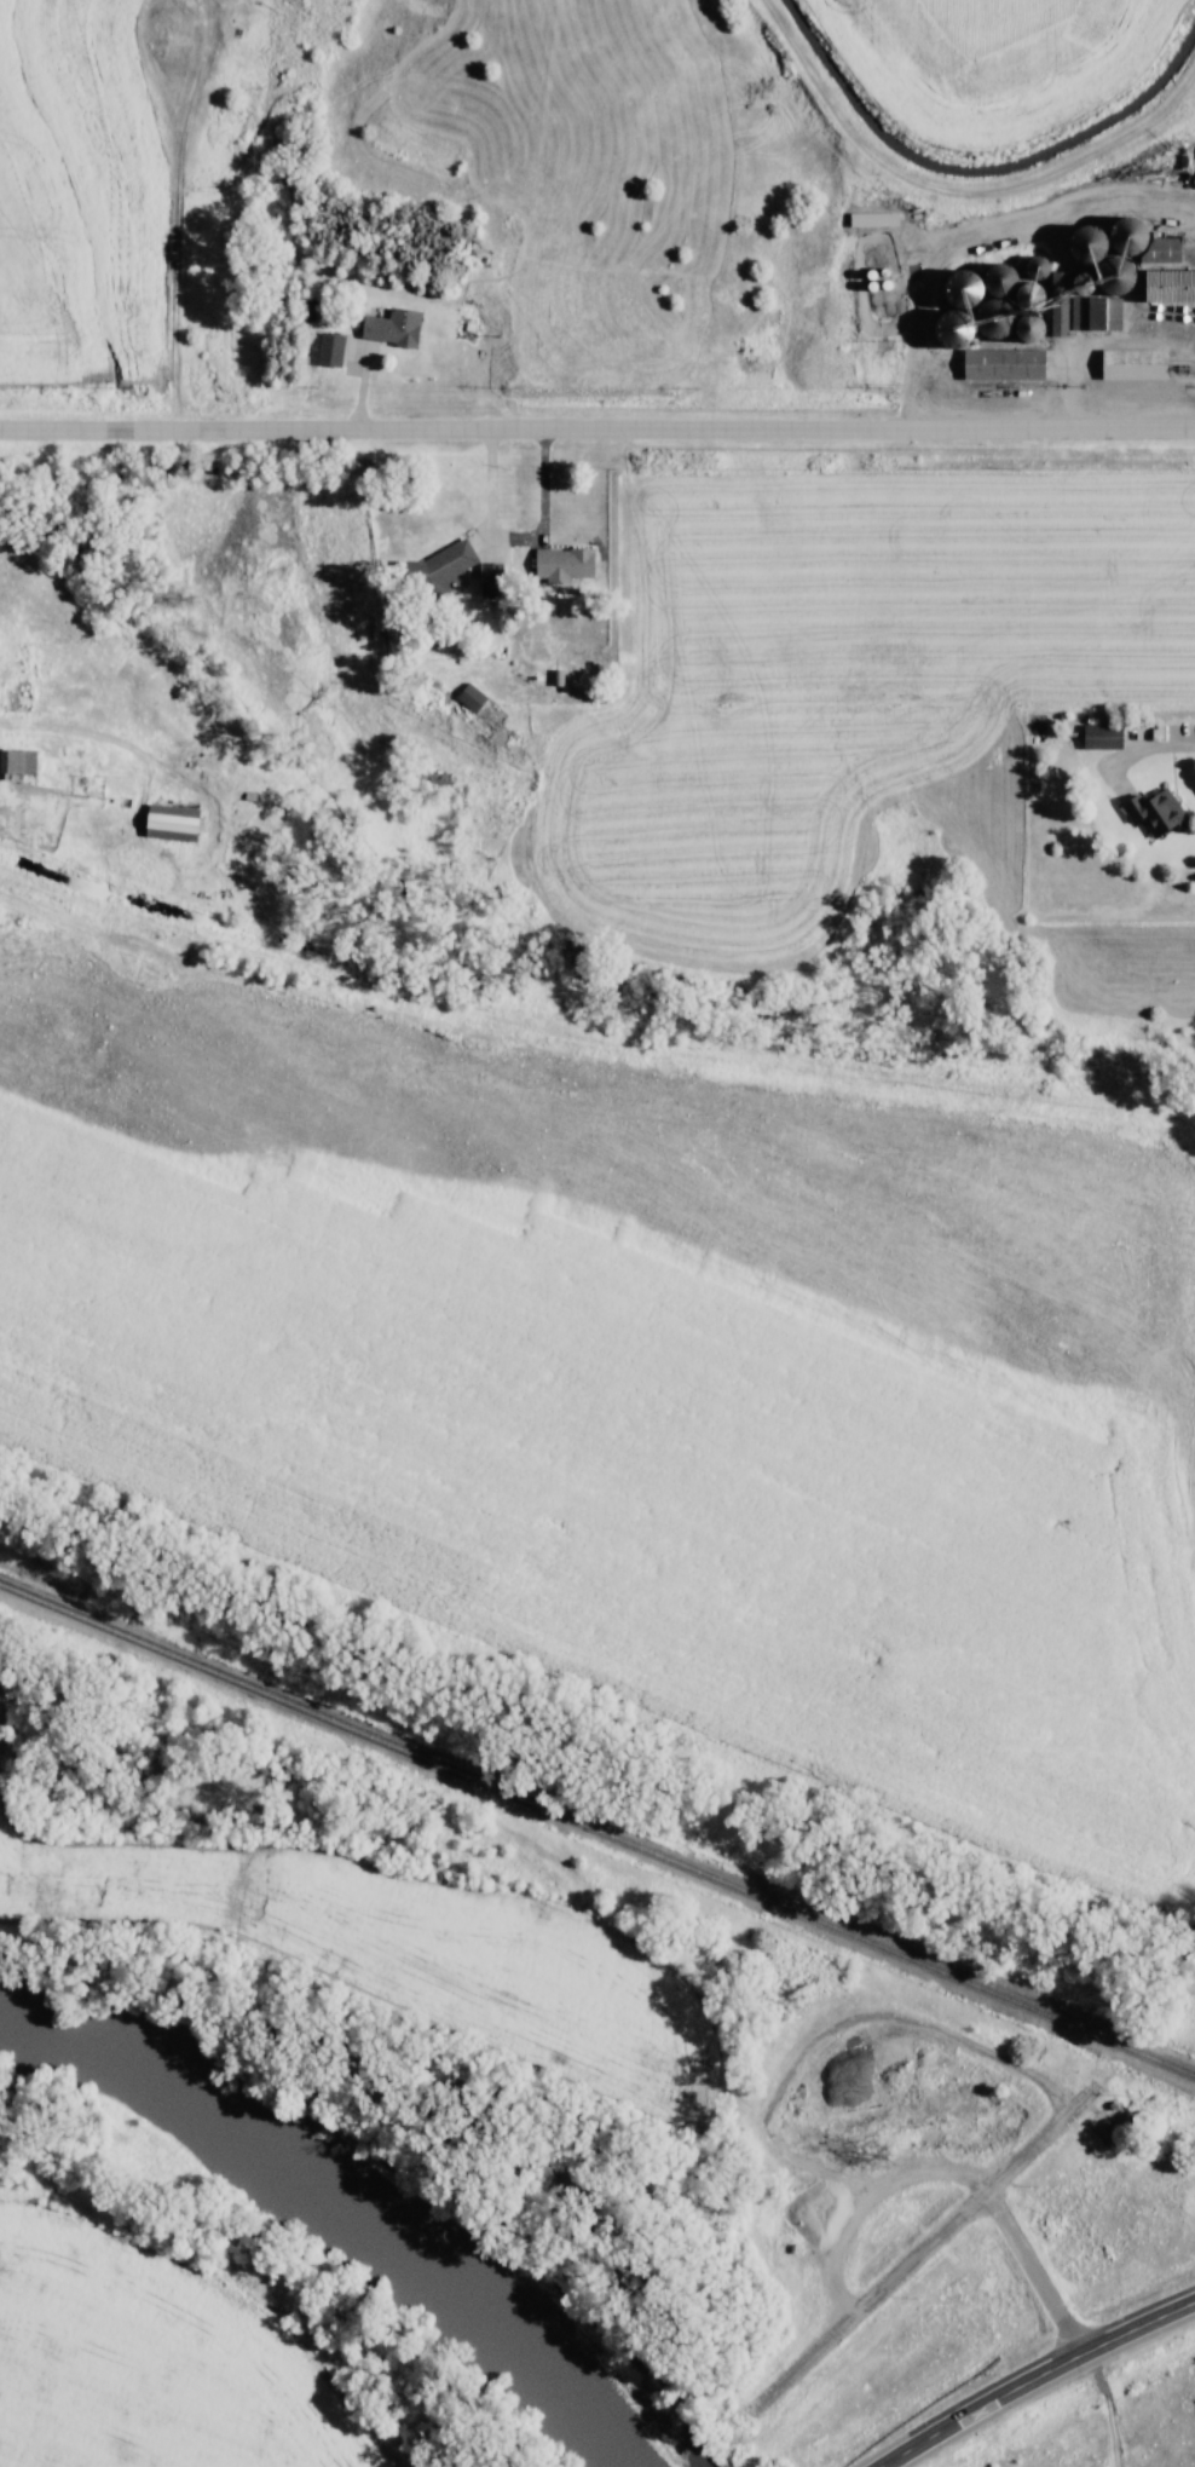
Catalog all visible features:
building: (888, 221)
road: (983, 240)
building: (1148, 246)
building: (998, 279)
building: (1179, 290)
building: (1028, 294)
building: (1095, 313)
building: (387, 328)
building: (1148, 364)
building: (1021, 367)
road: (597, 428)
road: (518, 538)
building: (562, 567)
building: (440, 571)
building: (490, 578)
building: (1101, 736)
road: (1138, 754)
building: (17, 759)
building: (1154, 811)
building: (169, 822)
crop: (642, 1368)
railway: (597, 1828)
building: (1105, 2122)
river: (351, 2206)
road: (926, 2238)
road: (1043, 2264)
road: (1029, 2376)

